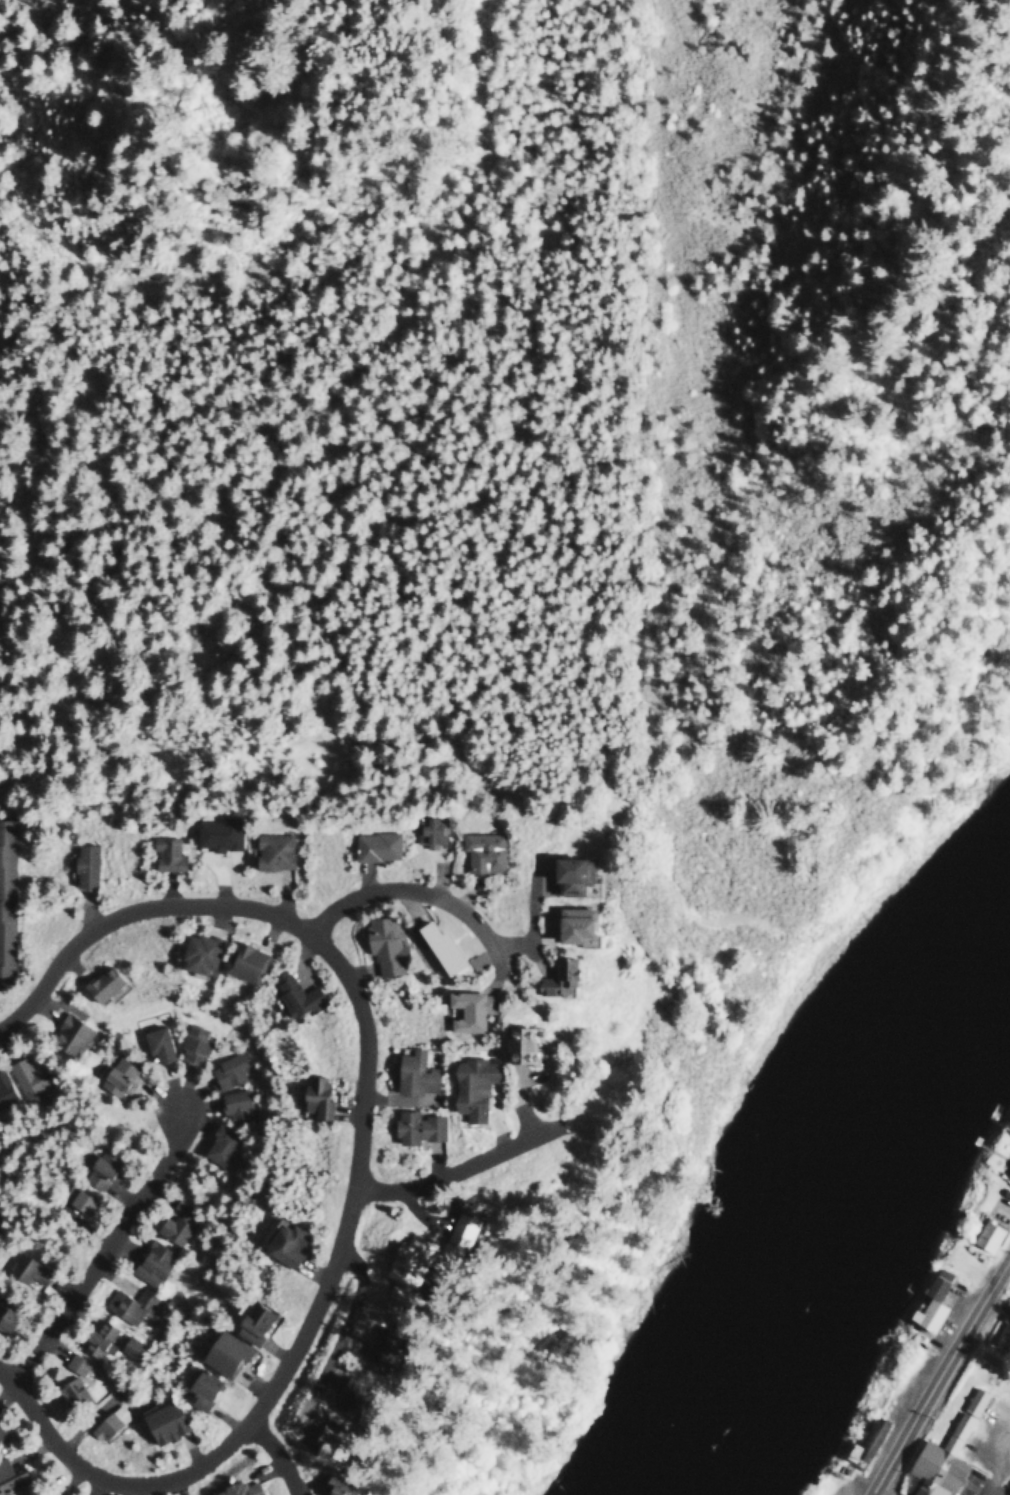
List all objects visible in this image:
building: (428, 831)
building: (218, 832)
building: (374, 846)
building: (272, 851)
building: (481, 851)
building: (165, 853)
building: (83, 865)
building: (567, 875)
road: (415, 887)
building: (6, 895)
building: (571, 925)
building: (382, 944)
building: (438, 946)
building: (199, 952)
building: (244, 962)
building: (553, 974)
building: (101, 983)
building: (292, 994)
building: (466, 1008)
building: (67, 1034)
building: (515, 1041)
building: (154, 1042)
building: (191, 1042)
building: (227, 1068)
building: (413, 1072)
building: (116, 1074)
building: (468, 1084)
building: (4, 1090)
building: (314, 1095)
building: (234, 1104)
building: (415, 1126)
building: (219, 1144)
road: (355, 1158)
building: (98, 1168)
road: (457, 1168)
building: (1007, 1174)
river: (826, 1192)
building: (76, 1198)
building: (173, 1228)
building: (459, 1228)
building: (986, 1235)
building: (285, 1243)
road: (105, 1248)
building: (151, 1261)
building: (403, 1265)
building: (26, 1269)
building: (929, 1301)
building: (128, 1304)
building: (6, 1318)
building: (250, 1321)
building: (1003, 1333)
building: (97, 1338)
building: (222, 1352)
building: (377, 1353)
crop: (999, 1360)
building: (74, 1363)
road: (940, 1376)
building: (200, 1388)
building: (68, 1391)
building: (346, 1392)
building: (107, 1421)
building: (163, 1421)
building: (0, 1428)
building: (328, 1441)
building: (864, 1442)
road: (281, 1451)
building: (940, 1455)
building: (10, 1473)
building: (333, 1487)
road: (129, 1489)
building: (236, 1489)
building: (18, 1493)
building: (1009, 1493)

